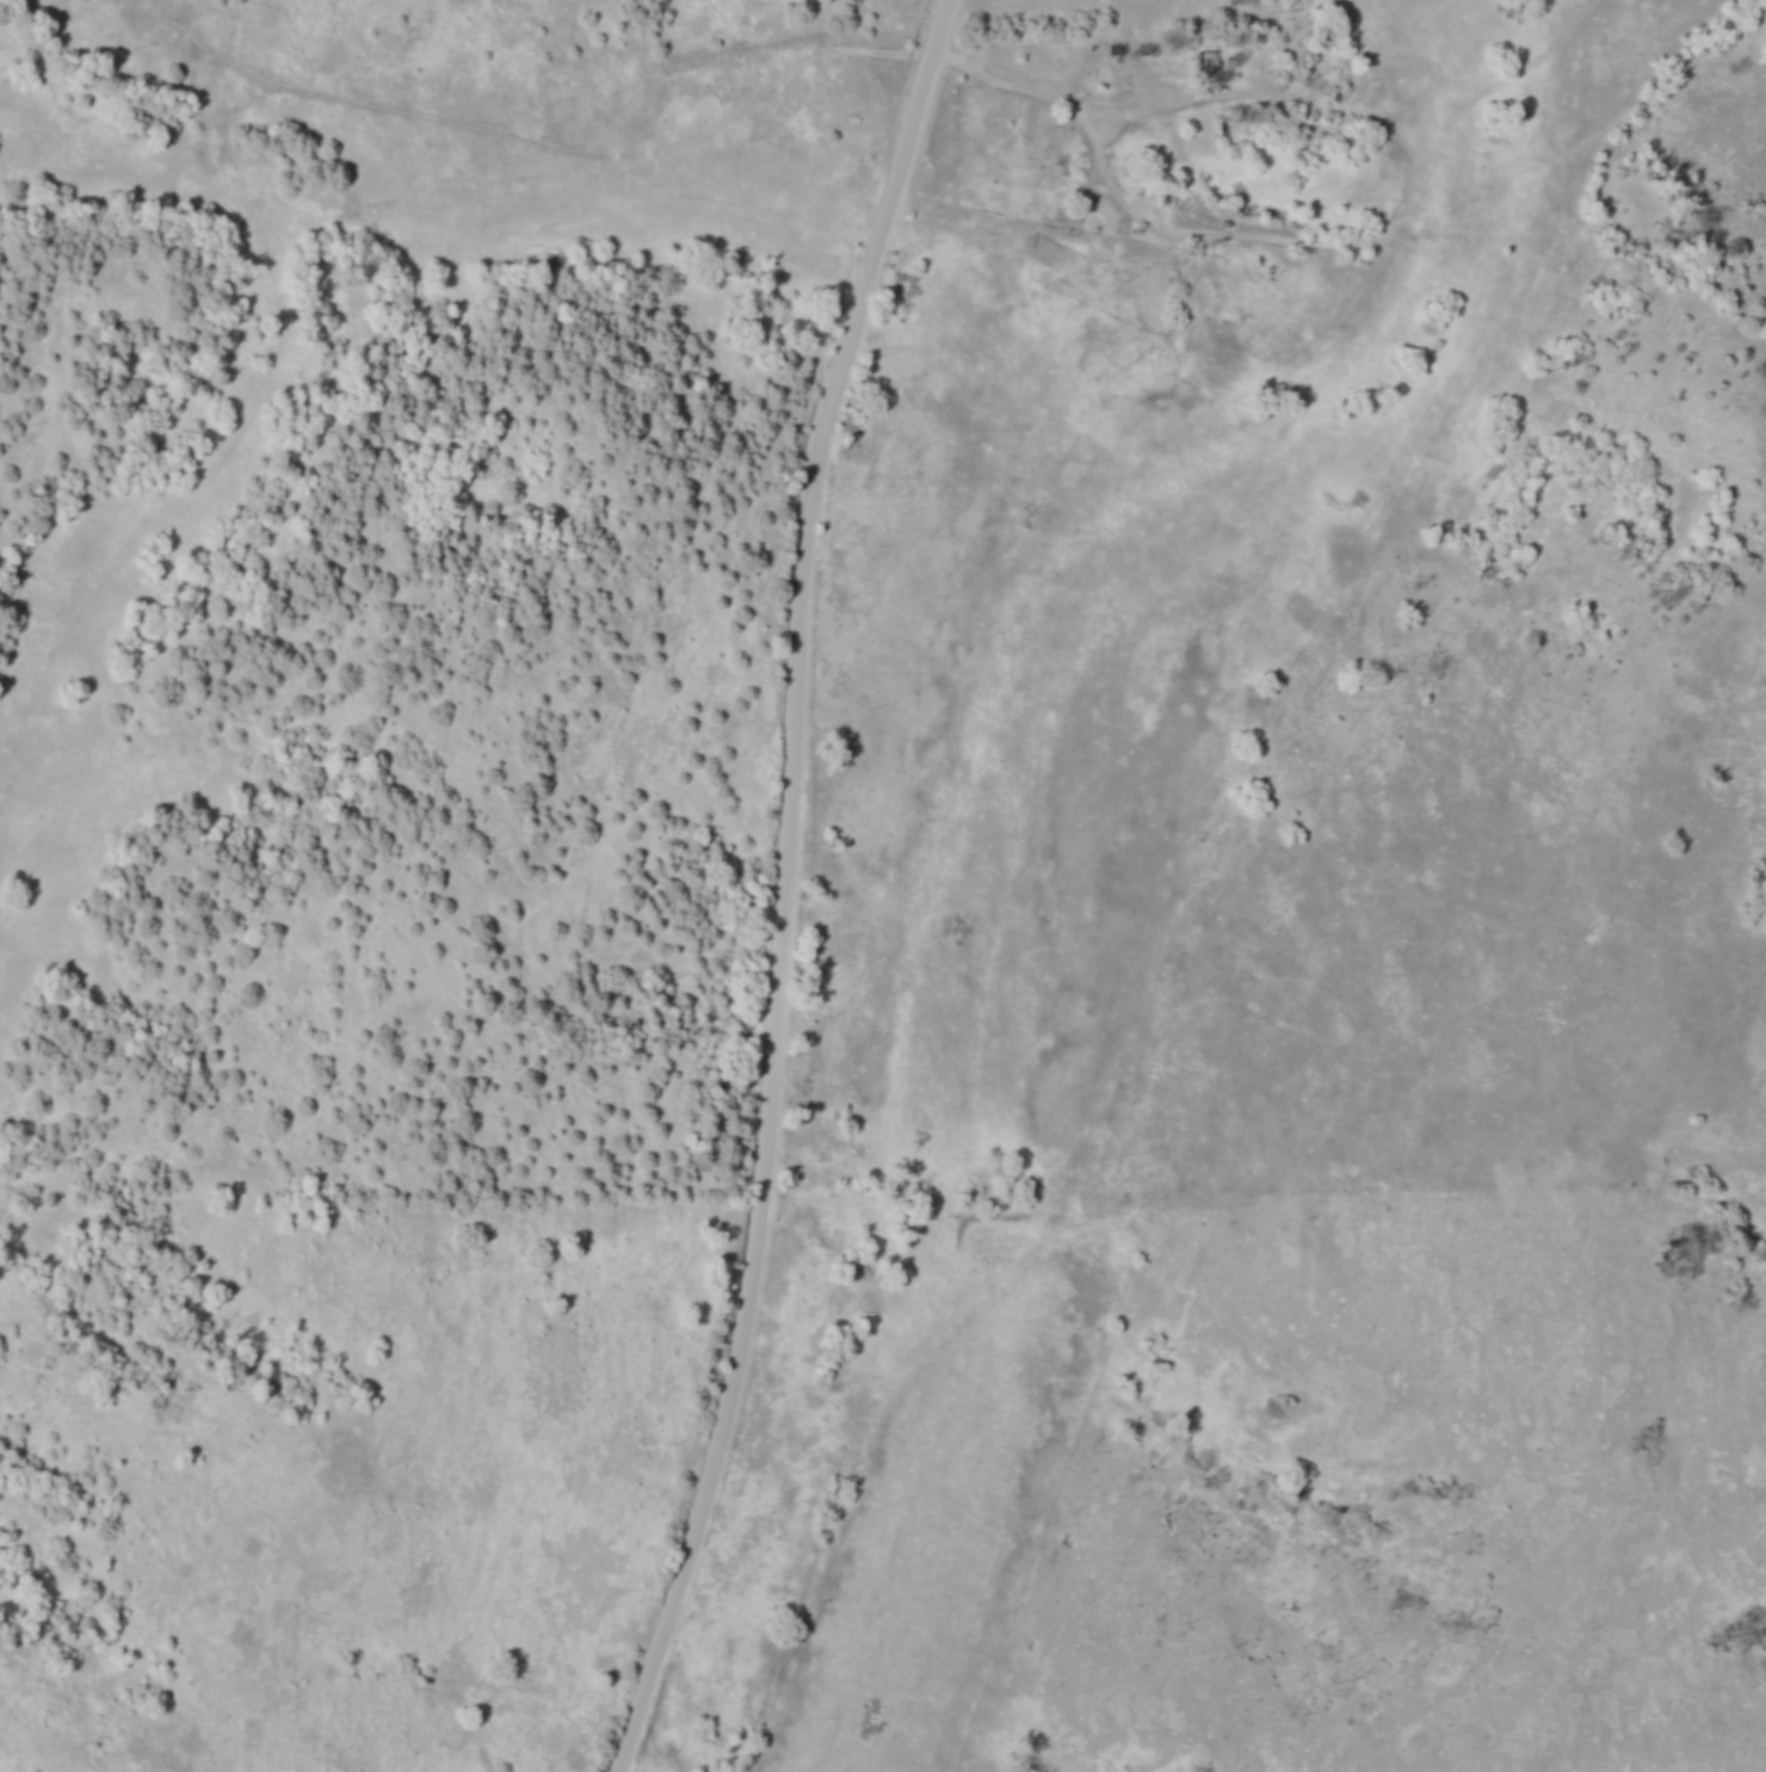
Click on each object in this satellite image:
building: (1114, 48)
building: (1205, 60)
road: (1285, 237)
road: (783, 884)

